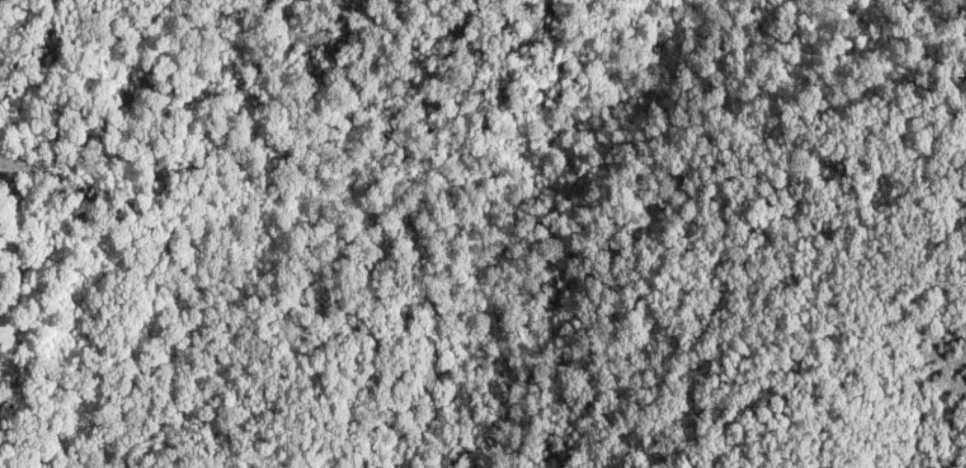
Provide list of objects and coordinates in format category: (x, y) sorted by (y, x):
road: (143, 25)

